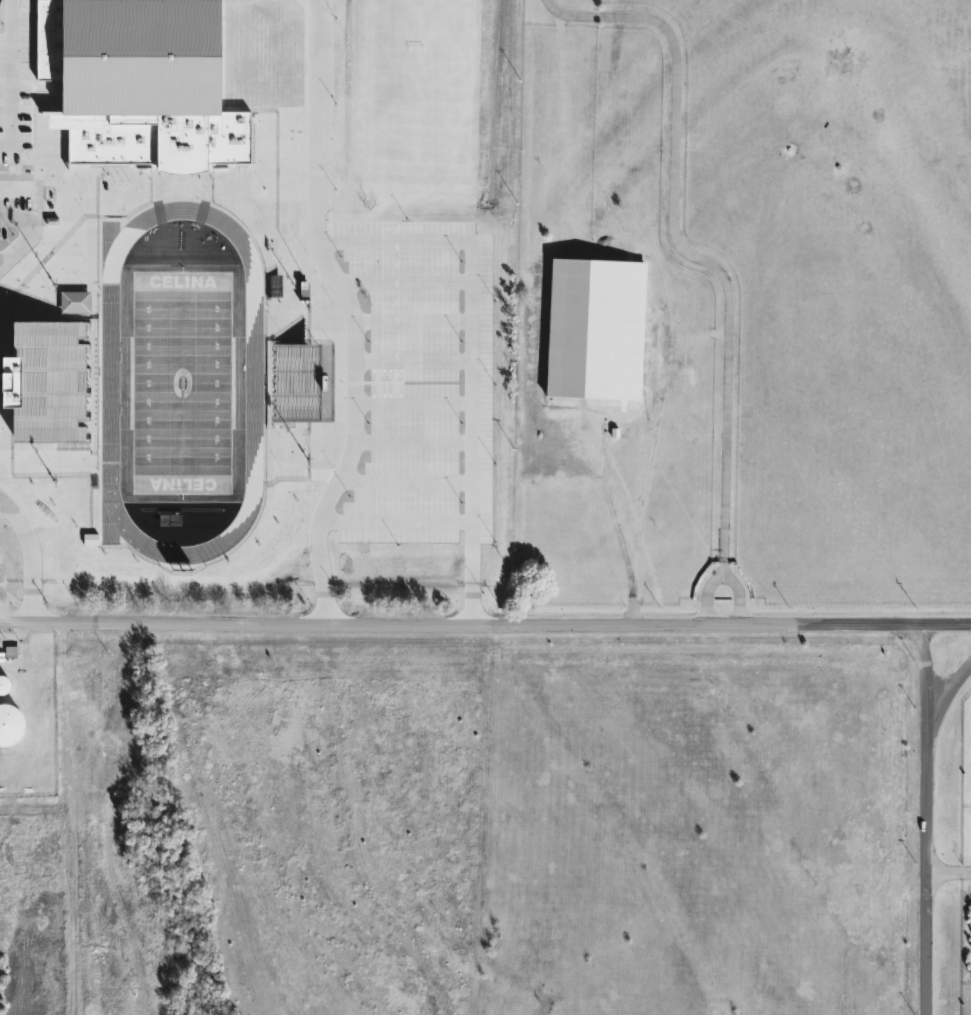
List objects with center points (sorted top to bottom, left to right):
road: (10, 70)
building: (146, 90)
road: (27, 231)
road: (675, 247)
road: (3, 255)
building: (72, 303)
road: (349, 313)
road: (468, 356)
park: (181, 382)
track: (253, 383)
building: (294, 383)
building: (52, 386)
building: (619, 388)
building: (13, 398)
road: (27, 557)
road: (734, 595)
road: (703, 596)
road: (485, 626)
building: (5, 684)
road: (943, 697)
building: (11, 723)
road: (925, 820)
road: (947, 870)

